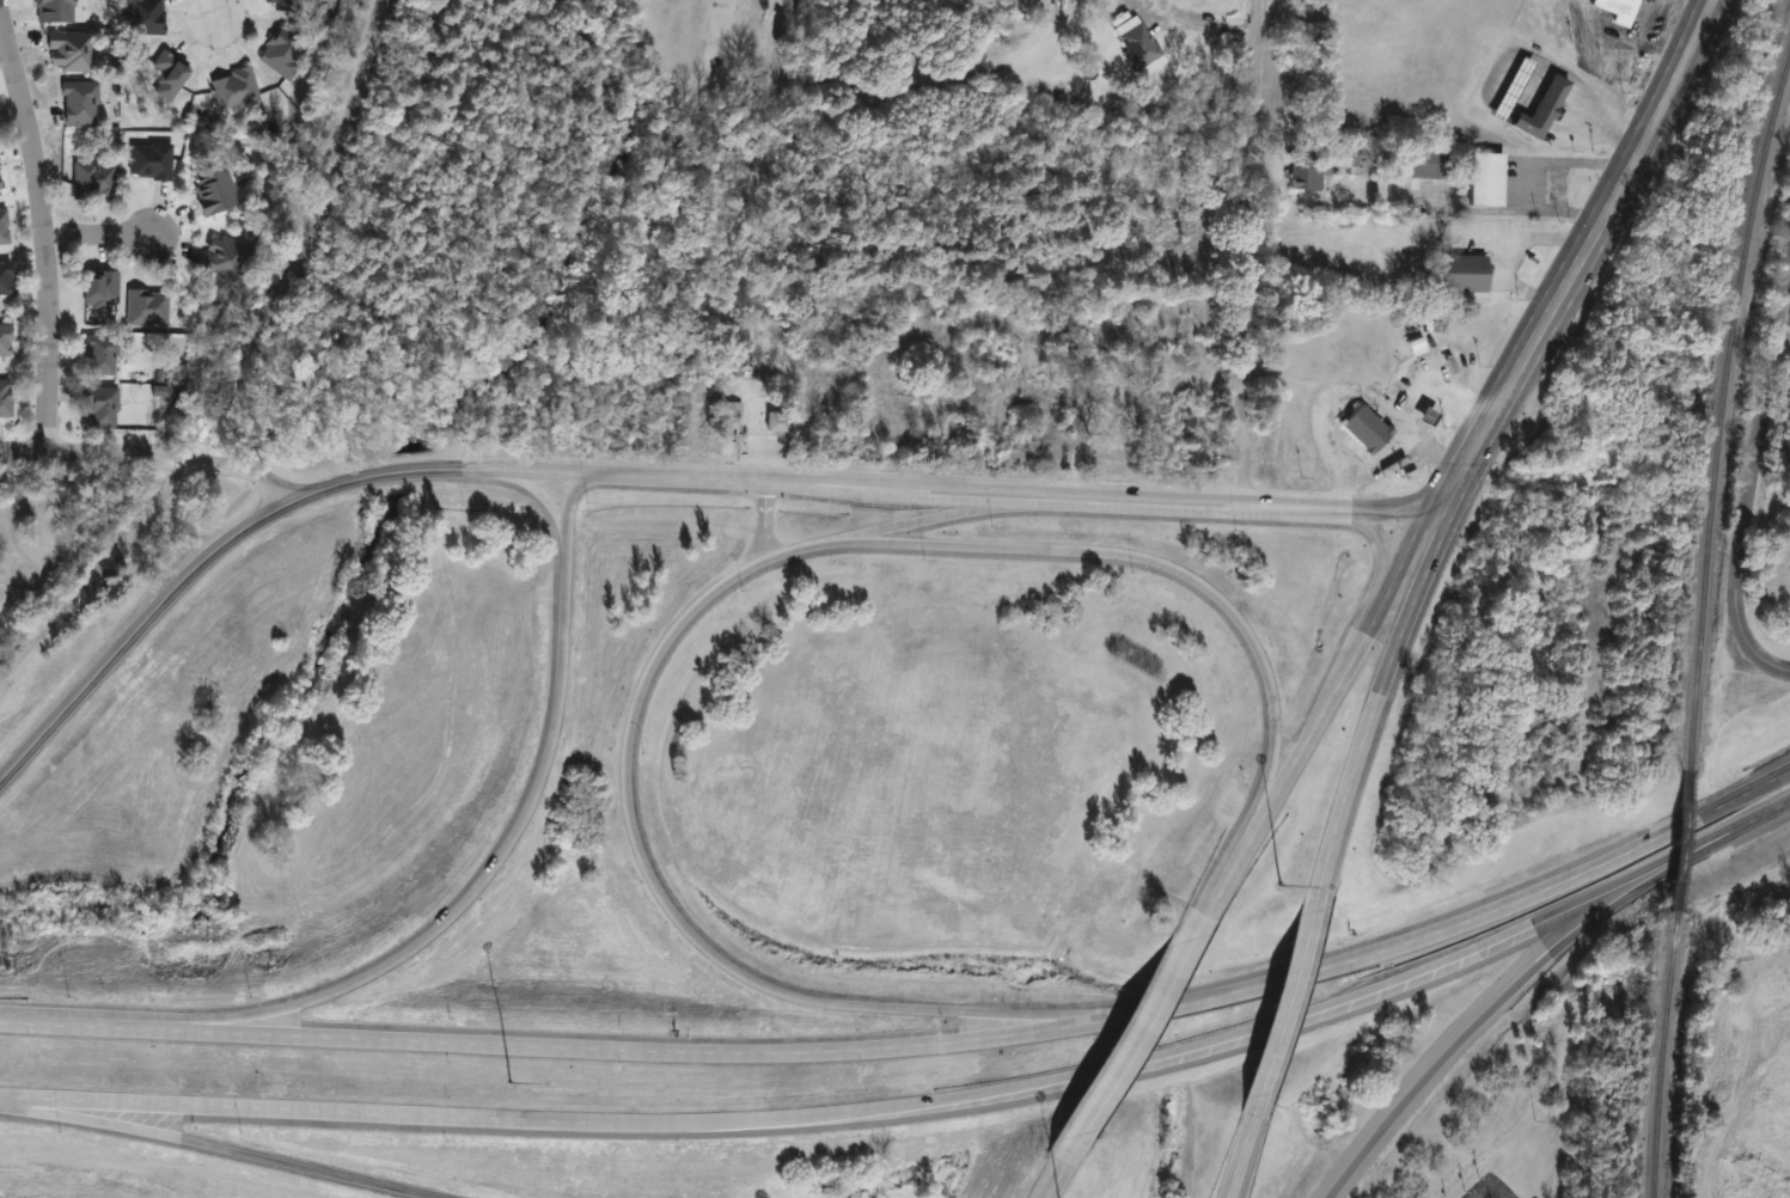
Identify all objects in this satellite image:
road: (1702, 2)
building: (1617, 7)
road: (214, 12)
building: (1137, 43)
building: (69, 51)
building: (285, 51)
road: (1629, 51)
road: (1681, 62)
building: (170, 77)
building: (1513, 90)
building: (80, 104)
building: (1547, 108)
building: (151, 163)
building: (1426, 166)
building: (1308, 176)
building: (94, 181)
building: (1486, 181)
building: (0, 187)
building: (215, 192)
building: (4, 228)
road: (42, 232)
road: (97, 234)
road: (1247, 252)
building: (222, 257)
building: (1466, 274)
building: (5, 279)
building: (102, 289)
building: (148, 307)
road: (1545, 318)
road: (1782, 338)
building: (6, 341)
building: (102, 355)
building: (5, 399)
building: (100, 408)
building: (1119, 409)
railway: (1724, 411)
building: (734, 412)
building: (776, 423)
building: (1364, 427)
road: (152, 452)
road: (1752, 469)
road: (423, 471)
road: (92, 478)
road: (998, 493)
road: (931, 517)
road: (762, 521)
road: (1141, 558)
road: (135, 630)
road: (1351, 655)
road: (1375, 708)
road: (1764, 814)
railway: (1685, 852)
road: (1229, 868)
road: (478, 878)
road: (664, 900)
road: (1513, 989)
road: (1180, 1004)
road: (1287, 1004)
road: (263, 1032)
road: (1129, 1047)
road: (1149, 1055)
railway: (1669, 1068)
road: (262, 1107)
road: (220, 1148)
road: (1244, 1150)
road: (1053, 1179)
road: (1497, 1194)
road: (1504, 1194)

